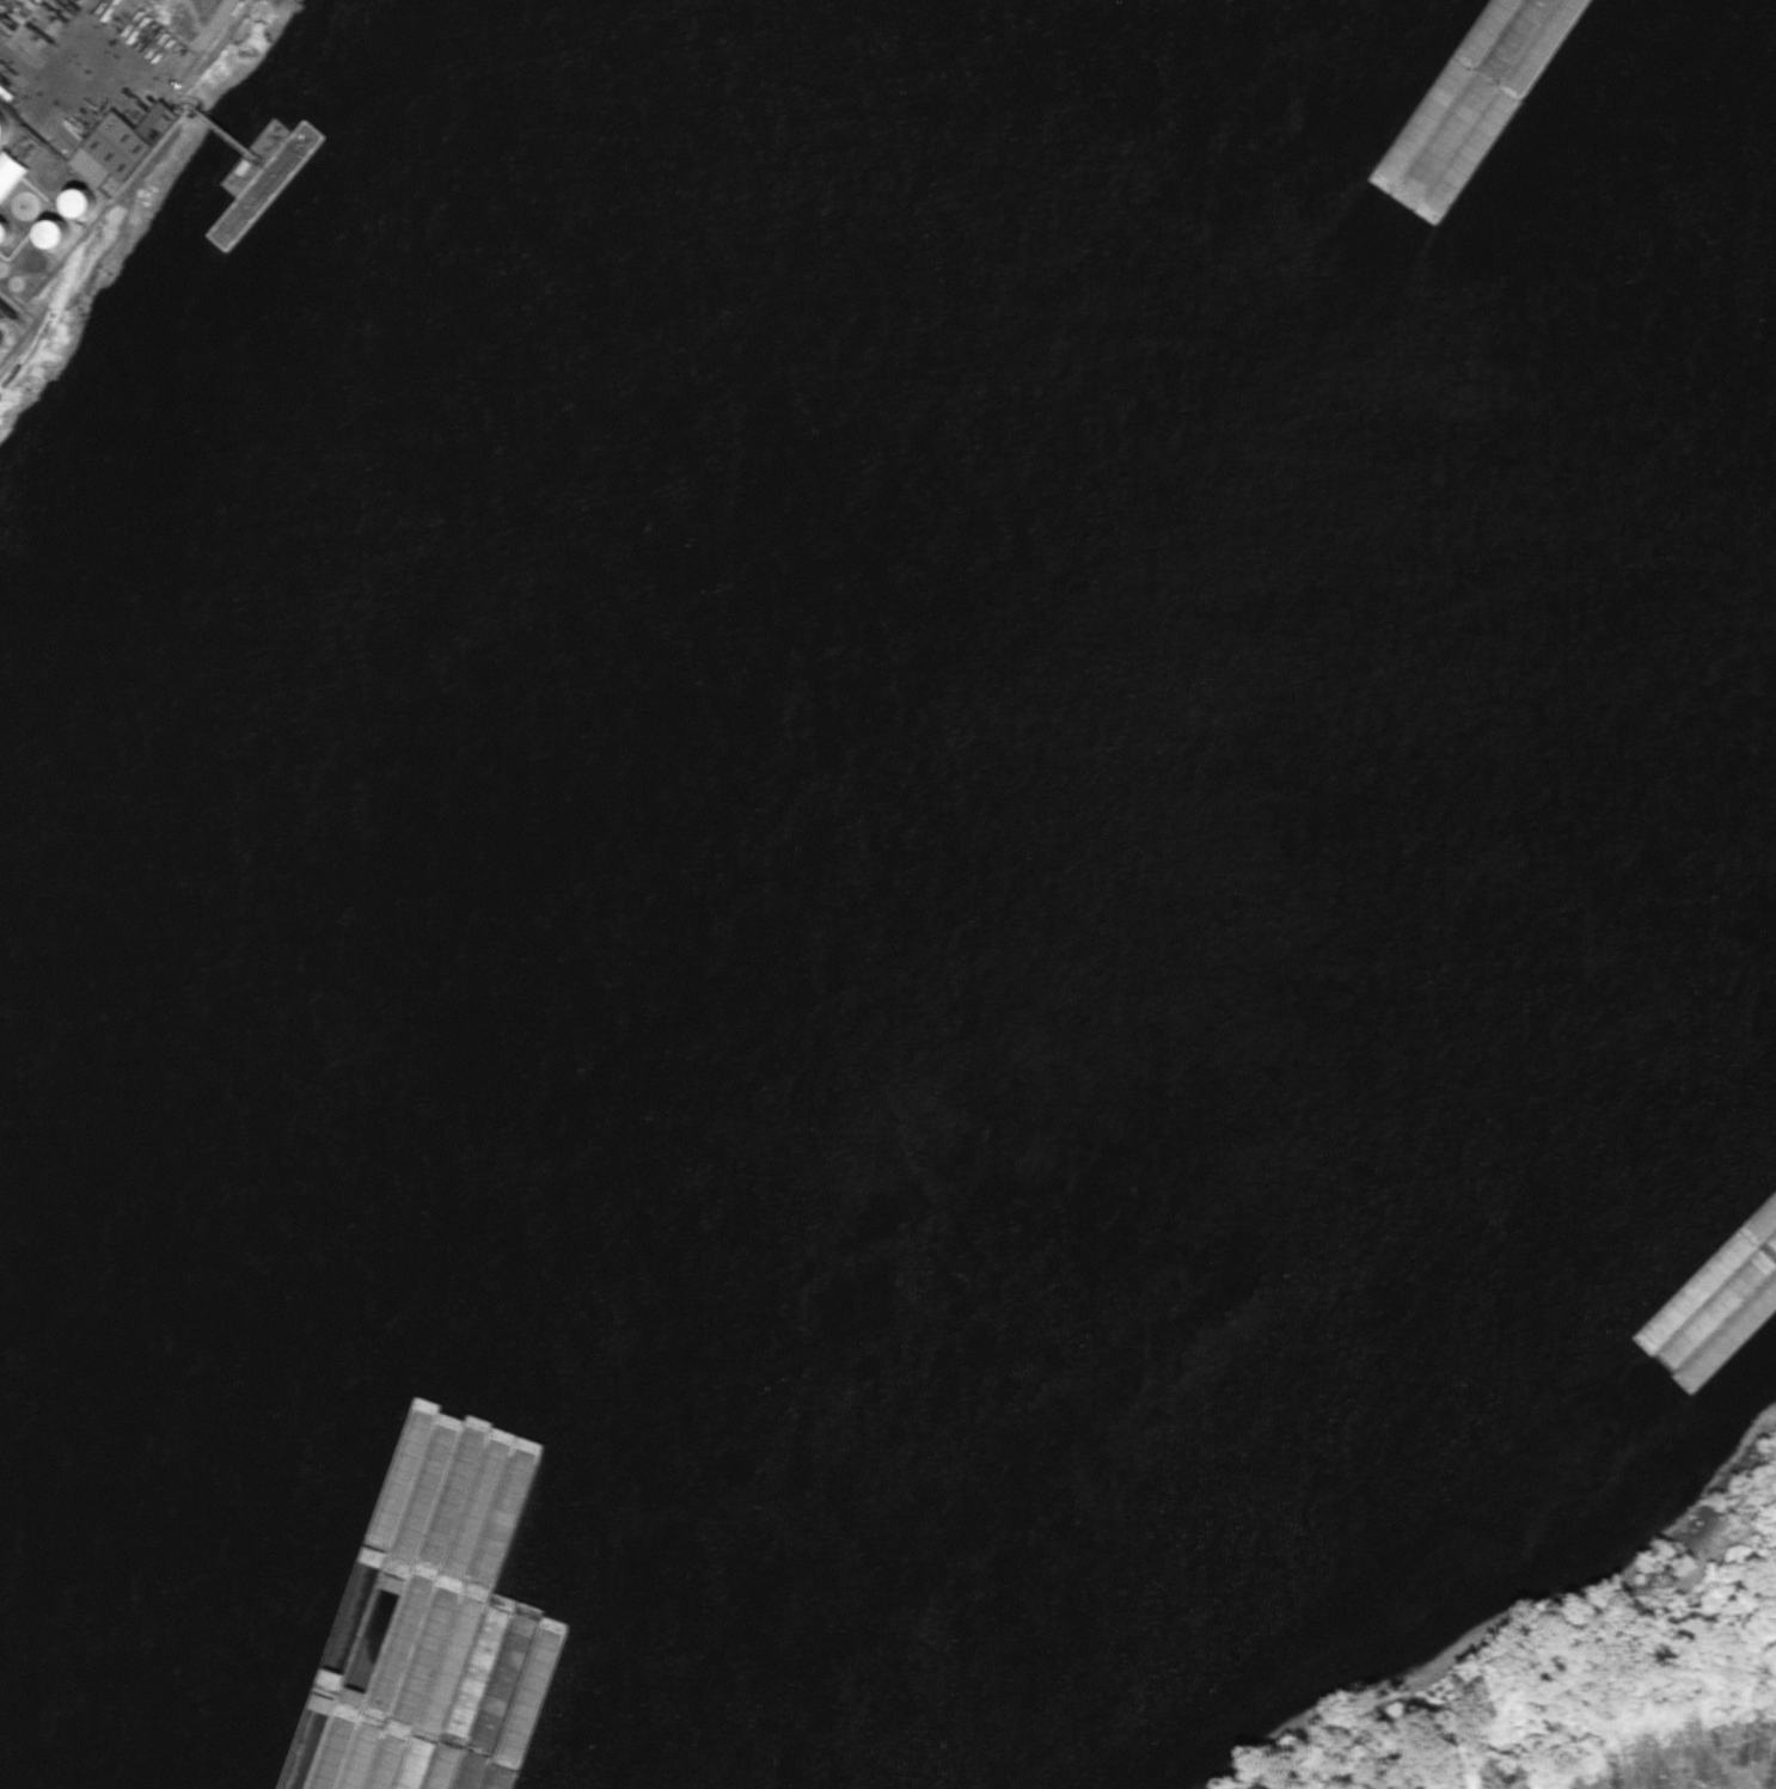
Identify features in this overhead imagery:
building: (1445, 63)
building: (1471, 73)
building: (1494, 87)
building: (5, 129)
storage tank: (5, 129)
building: (124, 143)
building: (10, 171)
building: (1402, 180)
building: (86, 202)
storage tank: (86, 202)
building: (27, 204)
storage tank: (27, 204)
building: (6, 232)
storage tank: (6, 232)
building: (60, 232)
storage tank: (60, 232)
building: (4, 268)
storage tank: (4, 268)
building: (18, 282)
storage tank: (18, 282)
railway: (14, 308)
river: (895, 380)
river: (355, 1274)
building: (1741, 1407)
crop: (1709, 1762)

